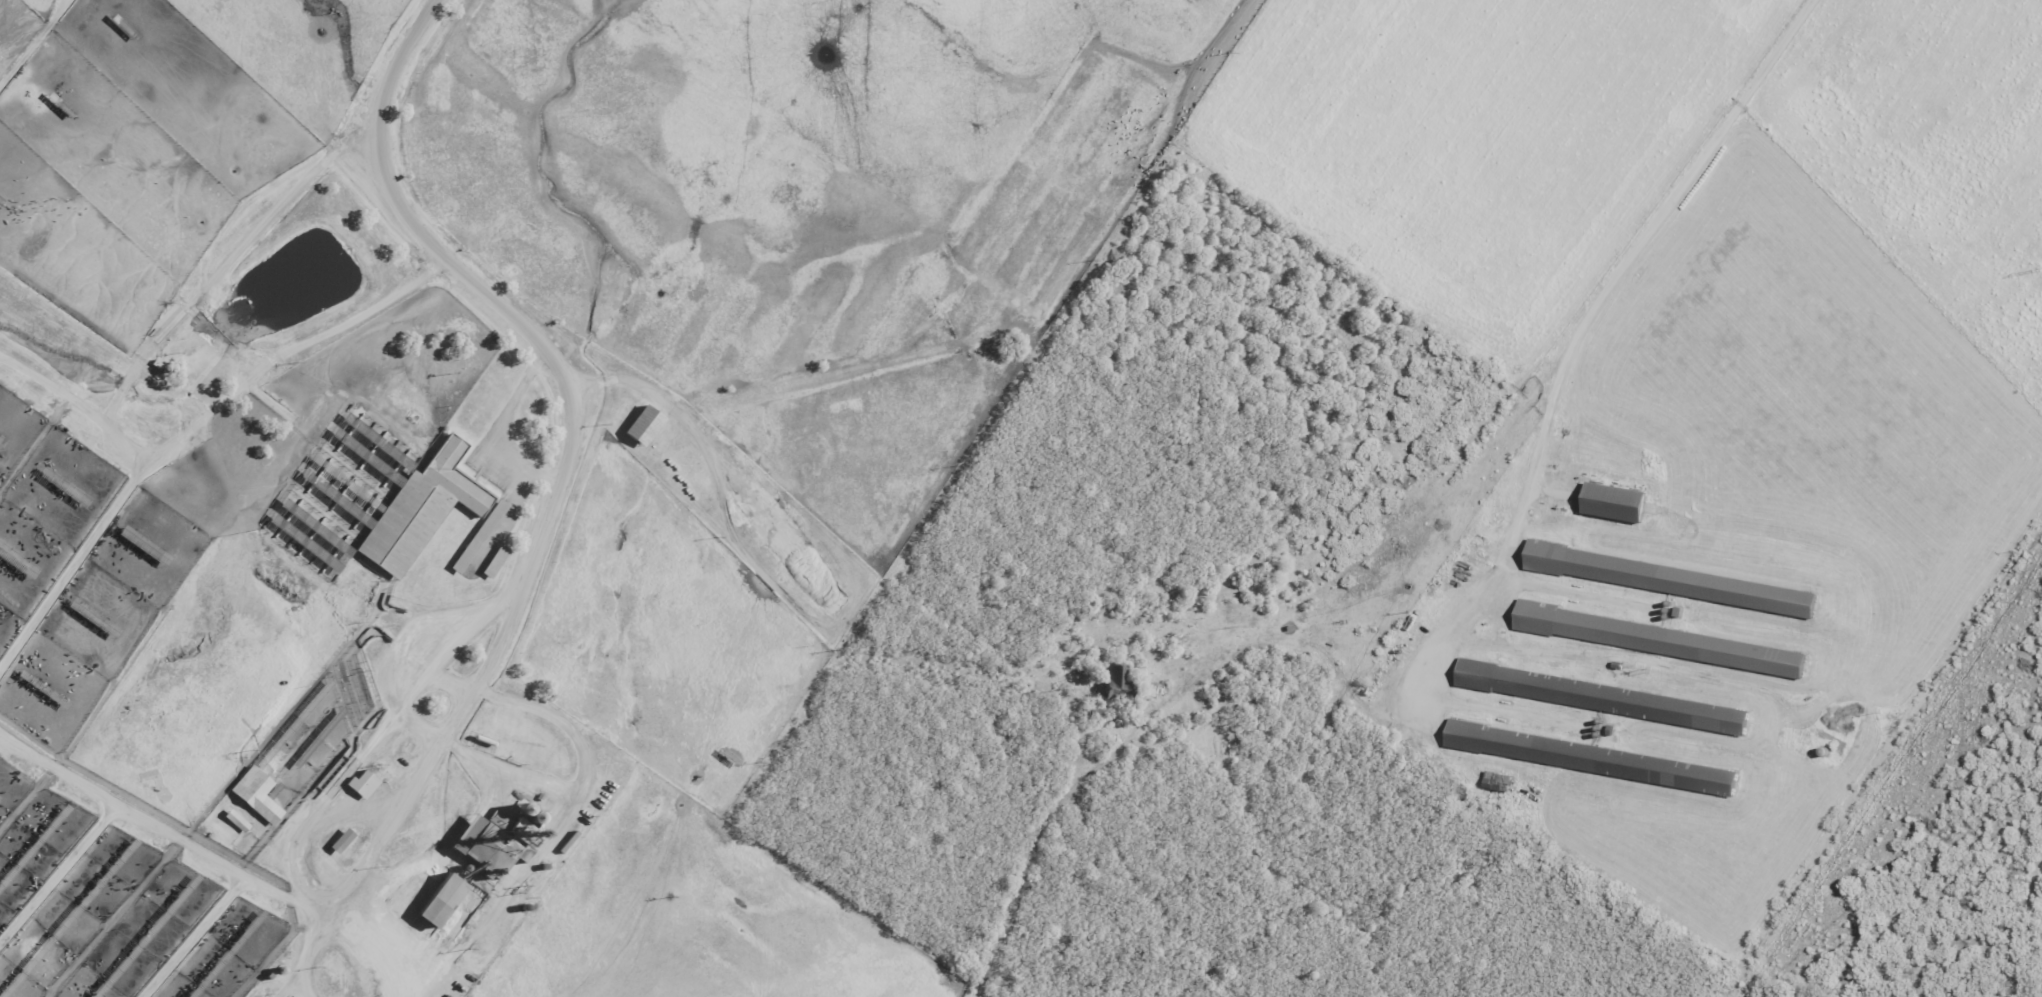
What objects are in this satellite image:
power tower: (2038, 270)
road: (1559, 377)
building: (641, 425)
building: (452, 477)
road: (559, 483)
building: (1613, 504)
building: (477, 537)
building: (493, 561)
building: (1670, 580)
building: (1659, 641)
building: (1114, 682)
building: (1601, 698)
building: (1591, 759)
building: (1496, 782)
building: (360, 784)
building: (254, 795)
building: (234, 821)
building: (339, 841)
building: (438, 901)

